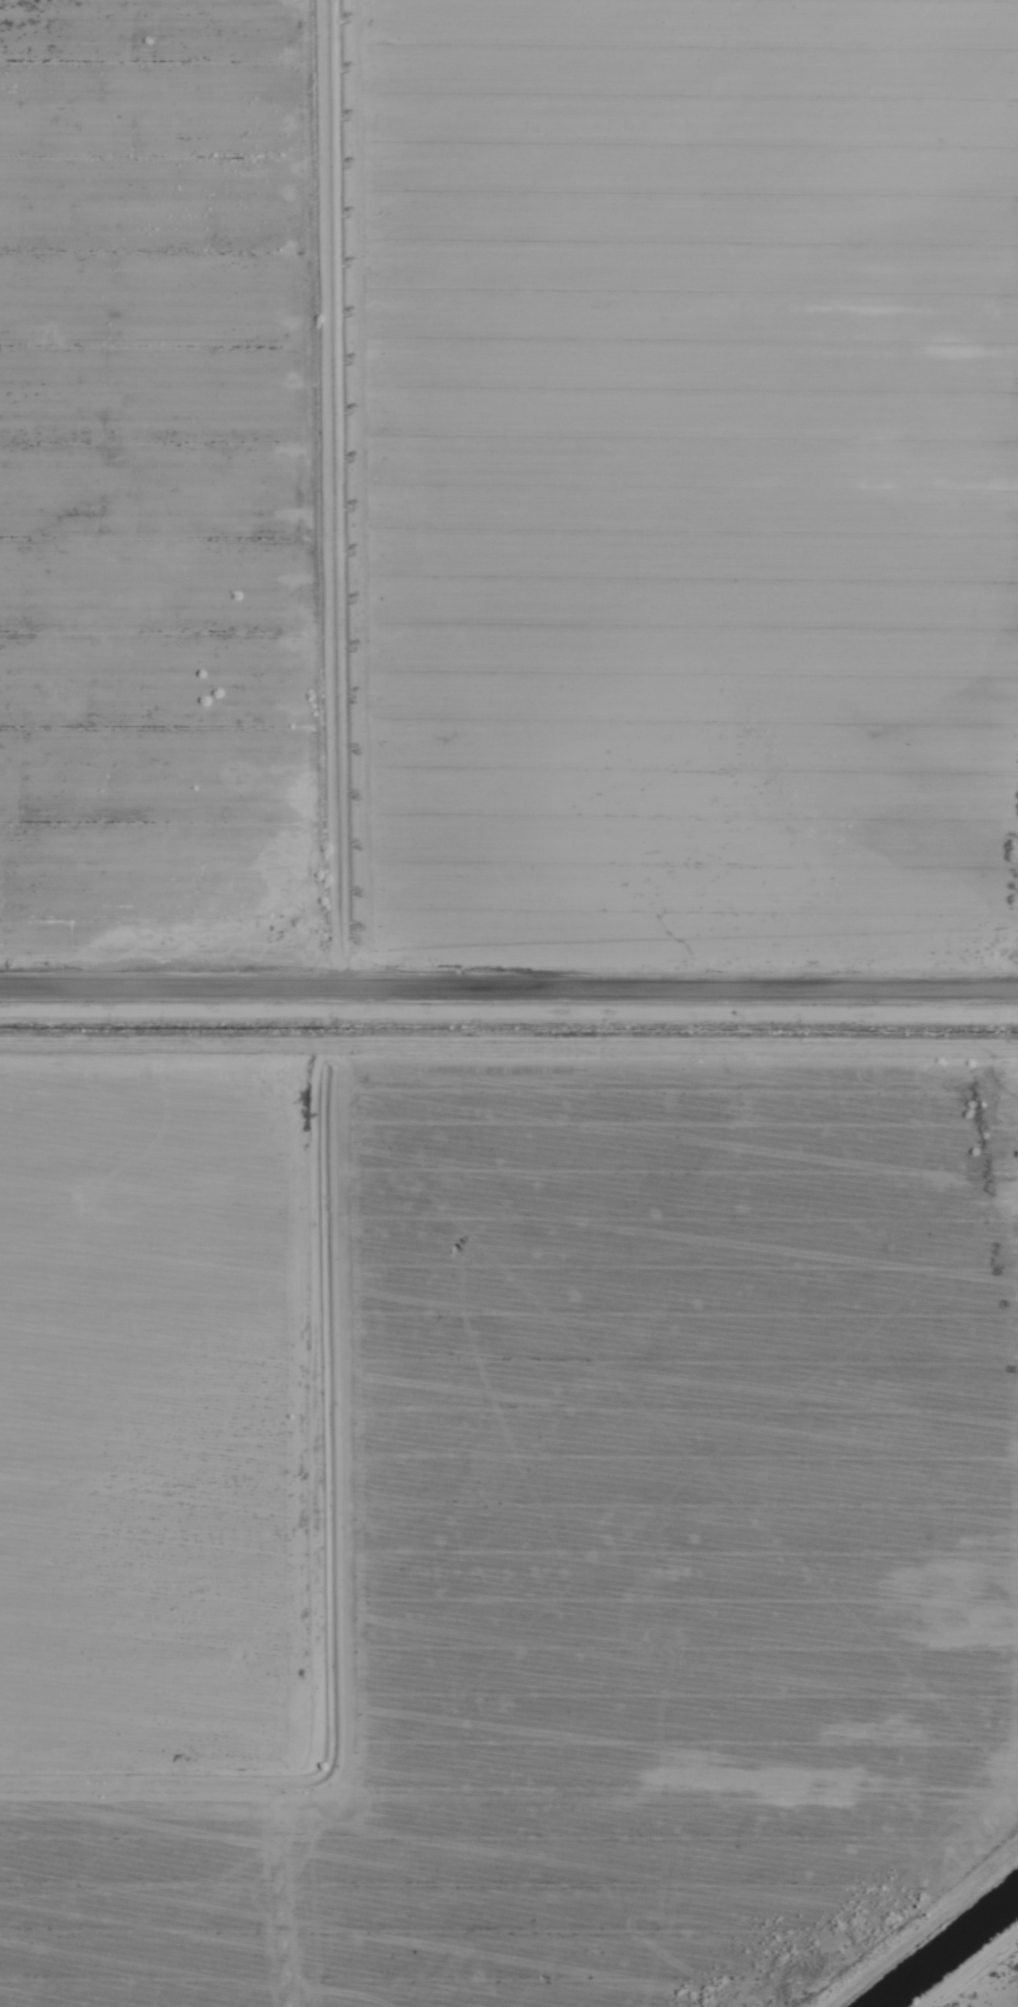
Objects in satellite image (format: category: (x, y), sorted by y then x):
crop: (509, 1003)
road: (509, 1015)

